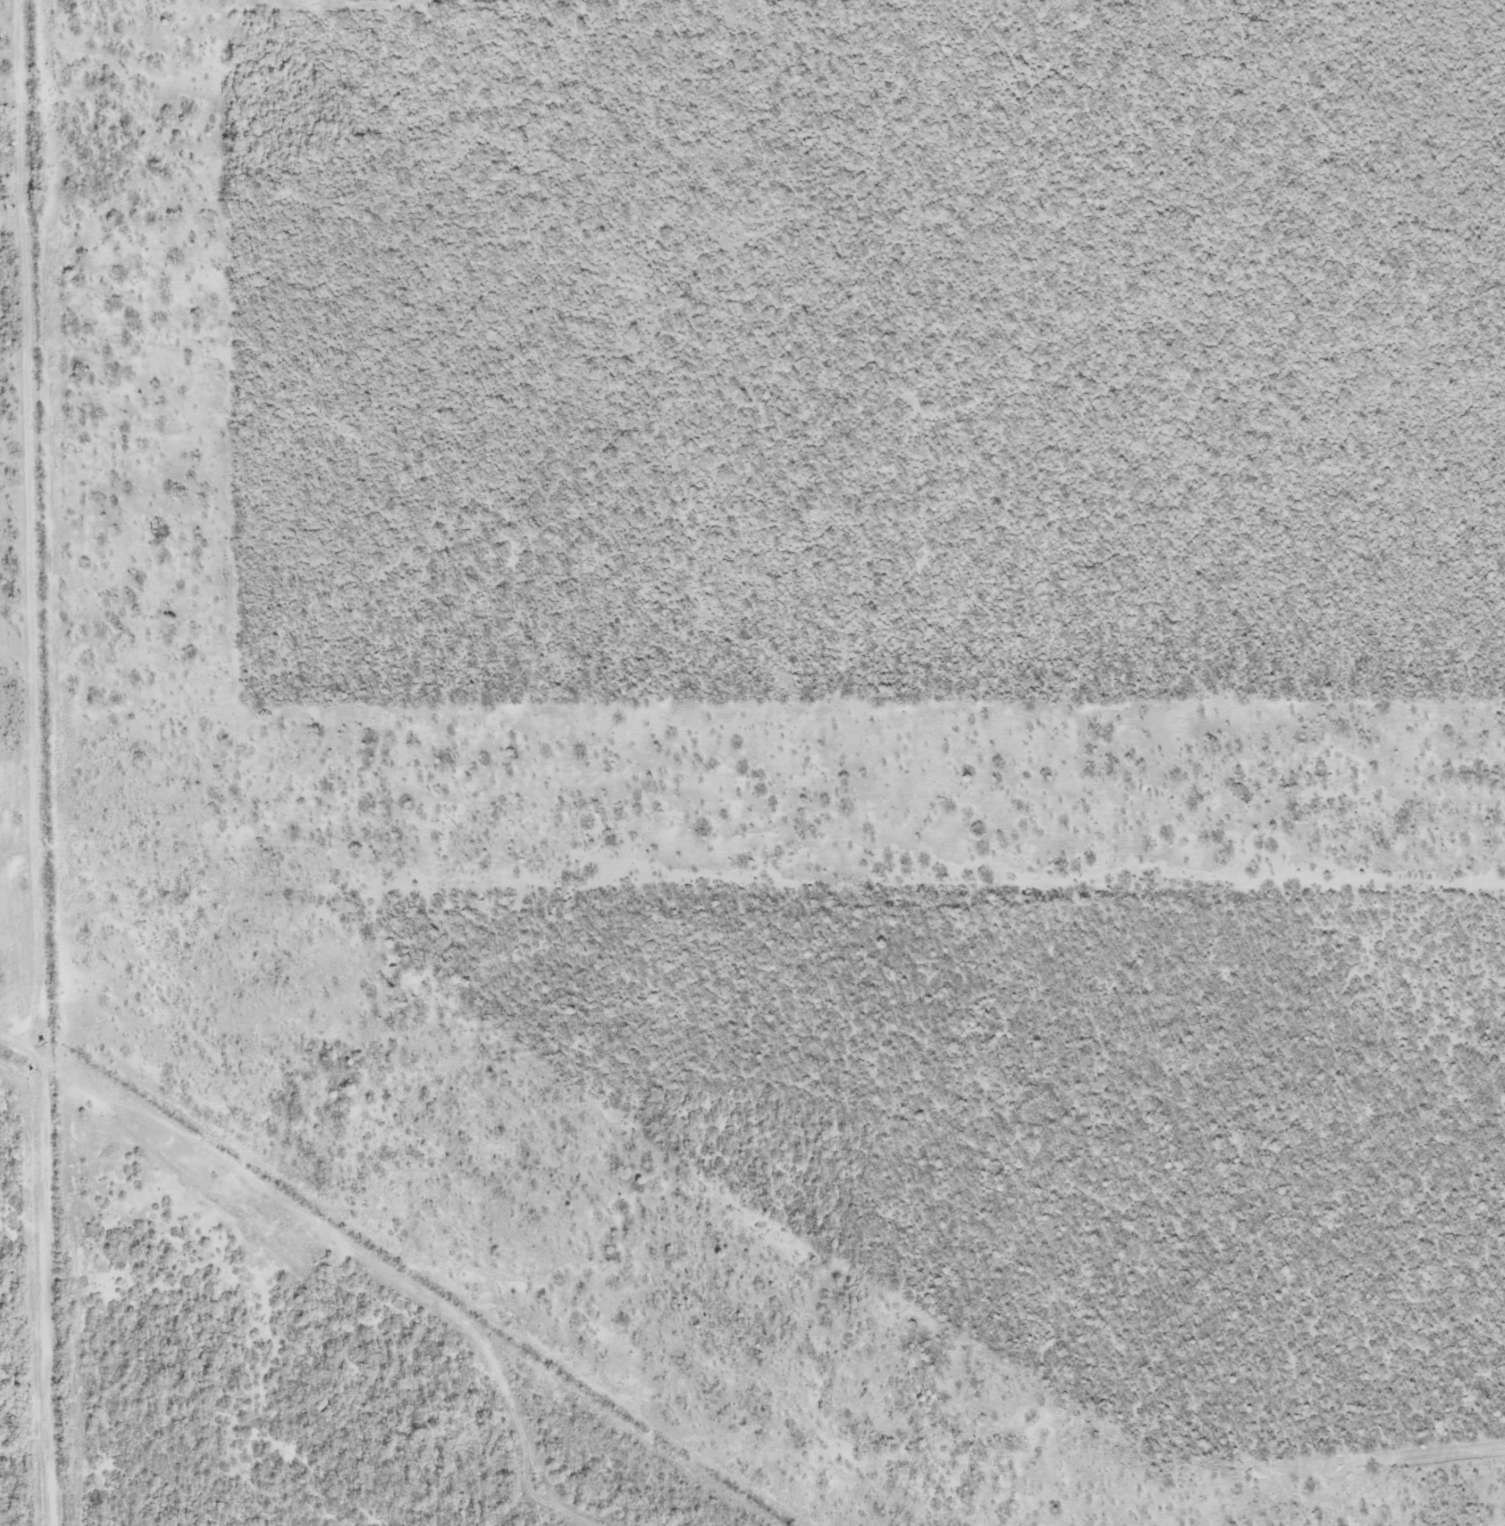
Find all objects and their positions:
road: (303, 1295)

